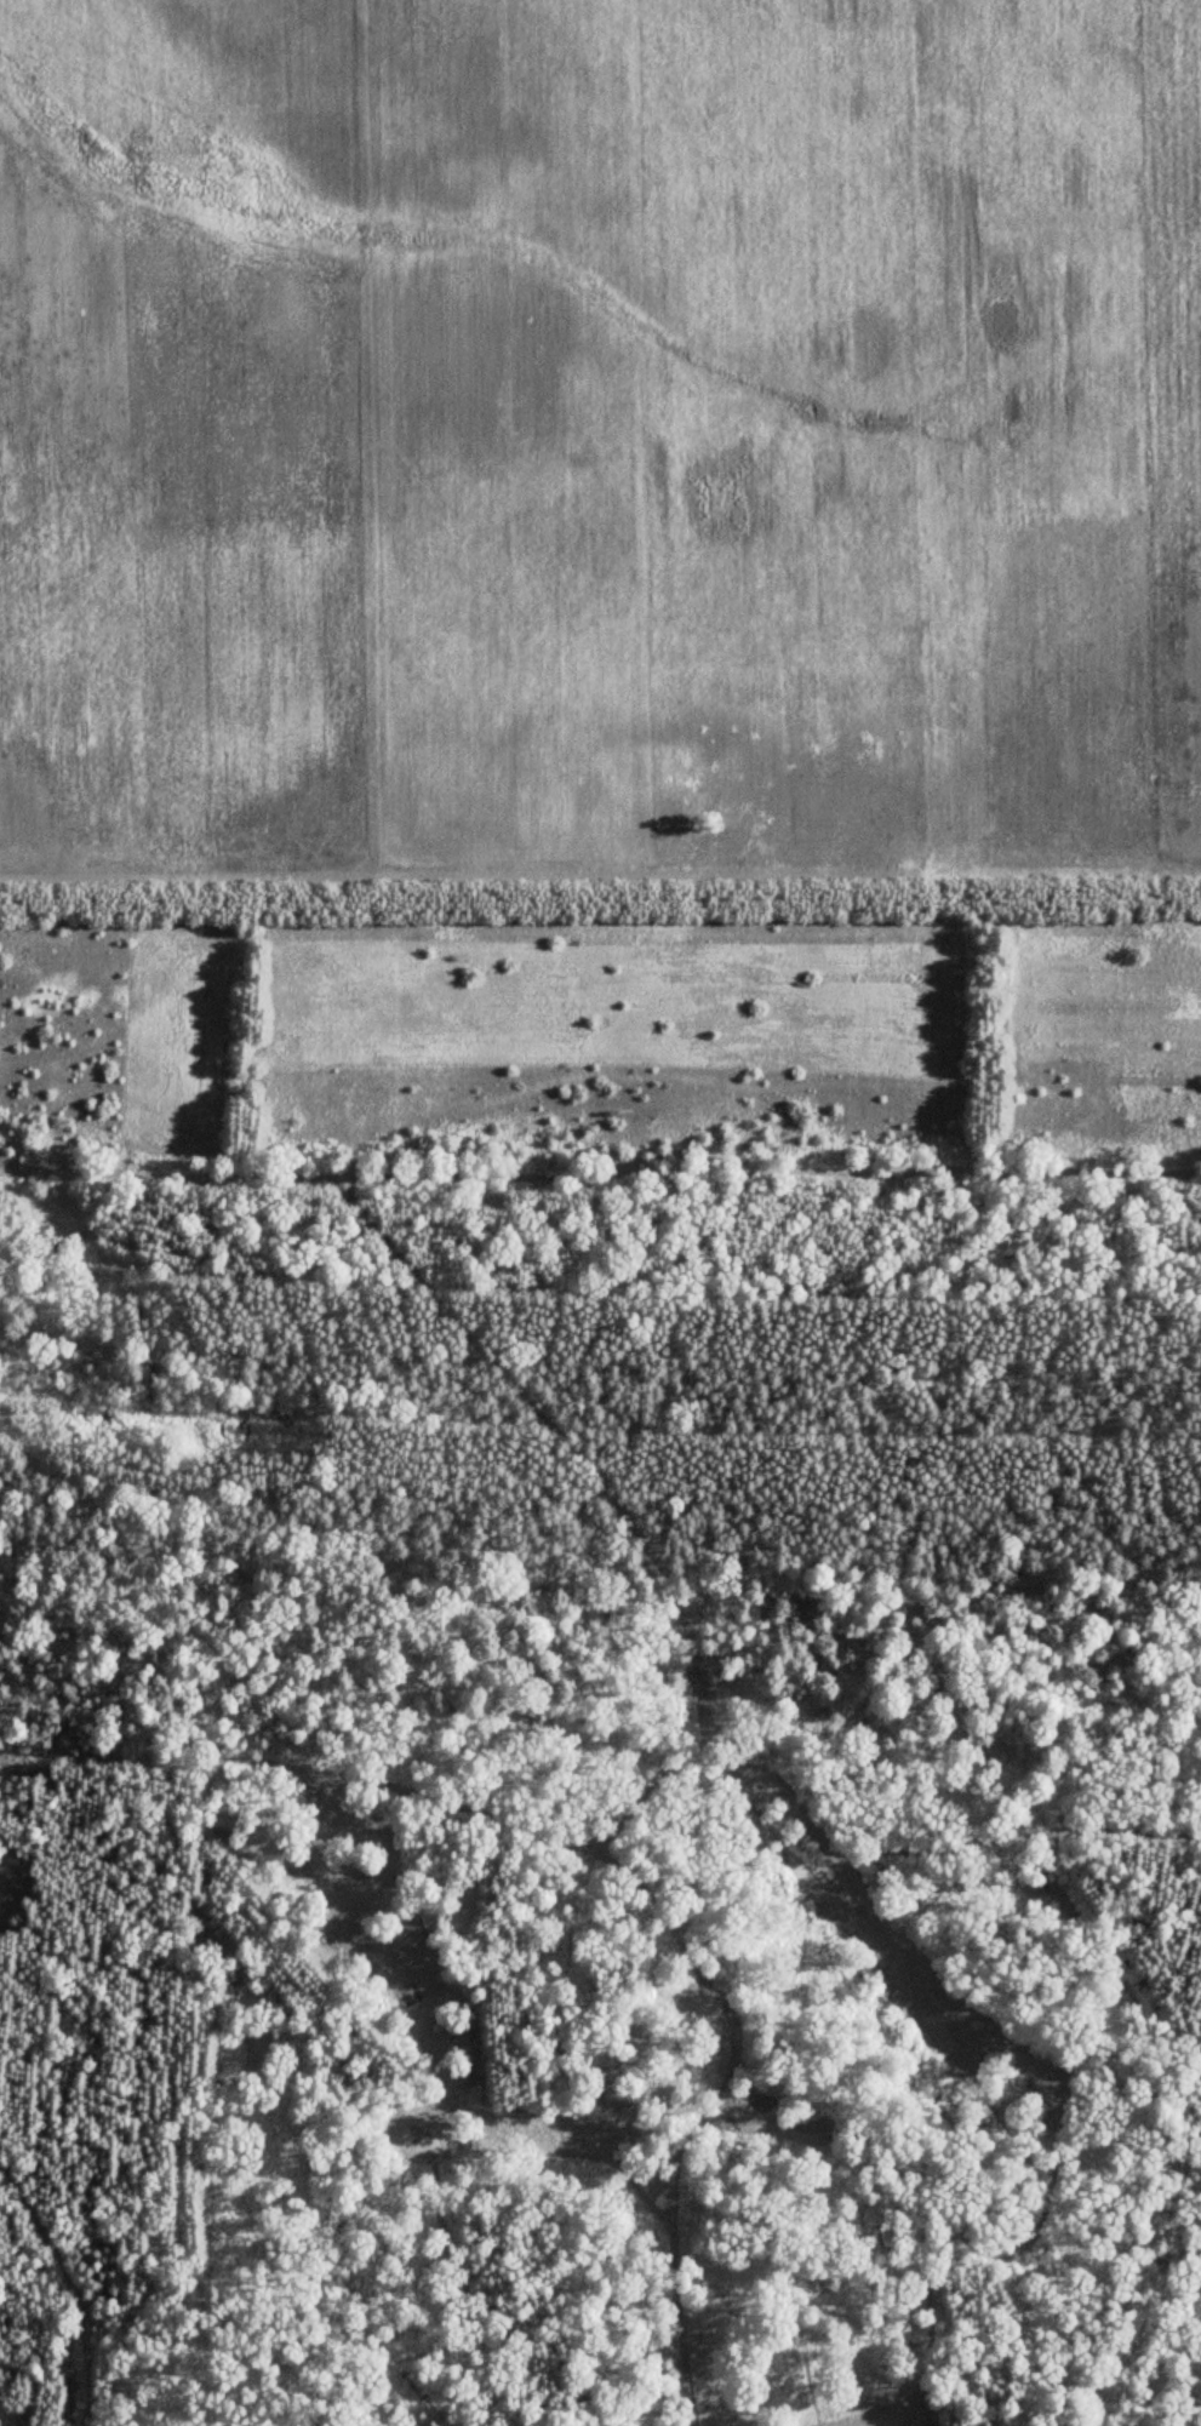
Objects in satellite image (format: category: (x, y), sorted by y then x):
crop: (600, 431)

